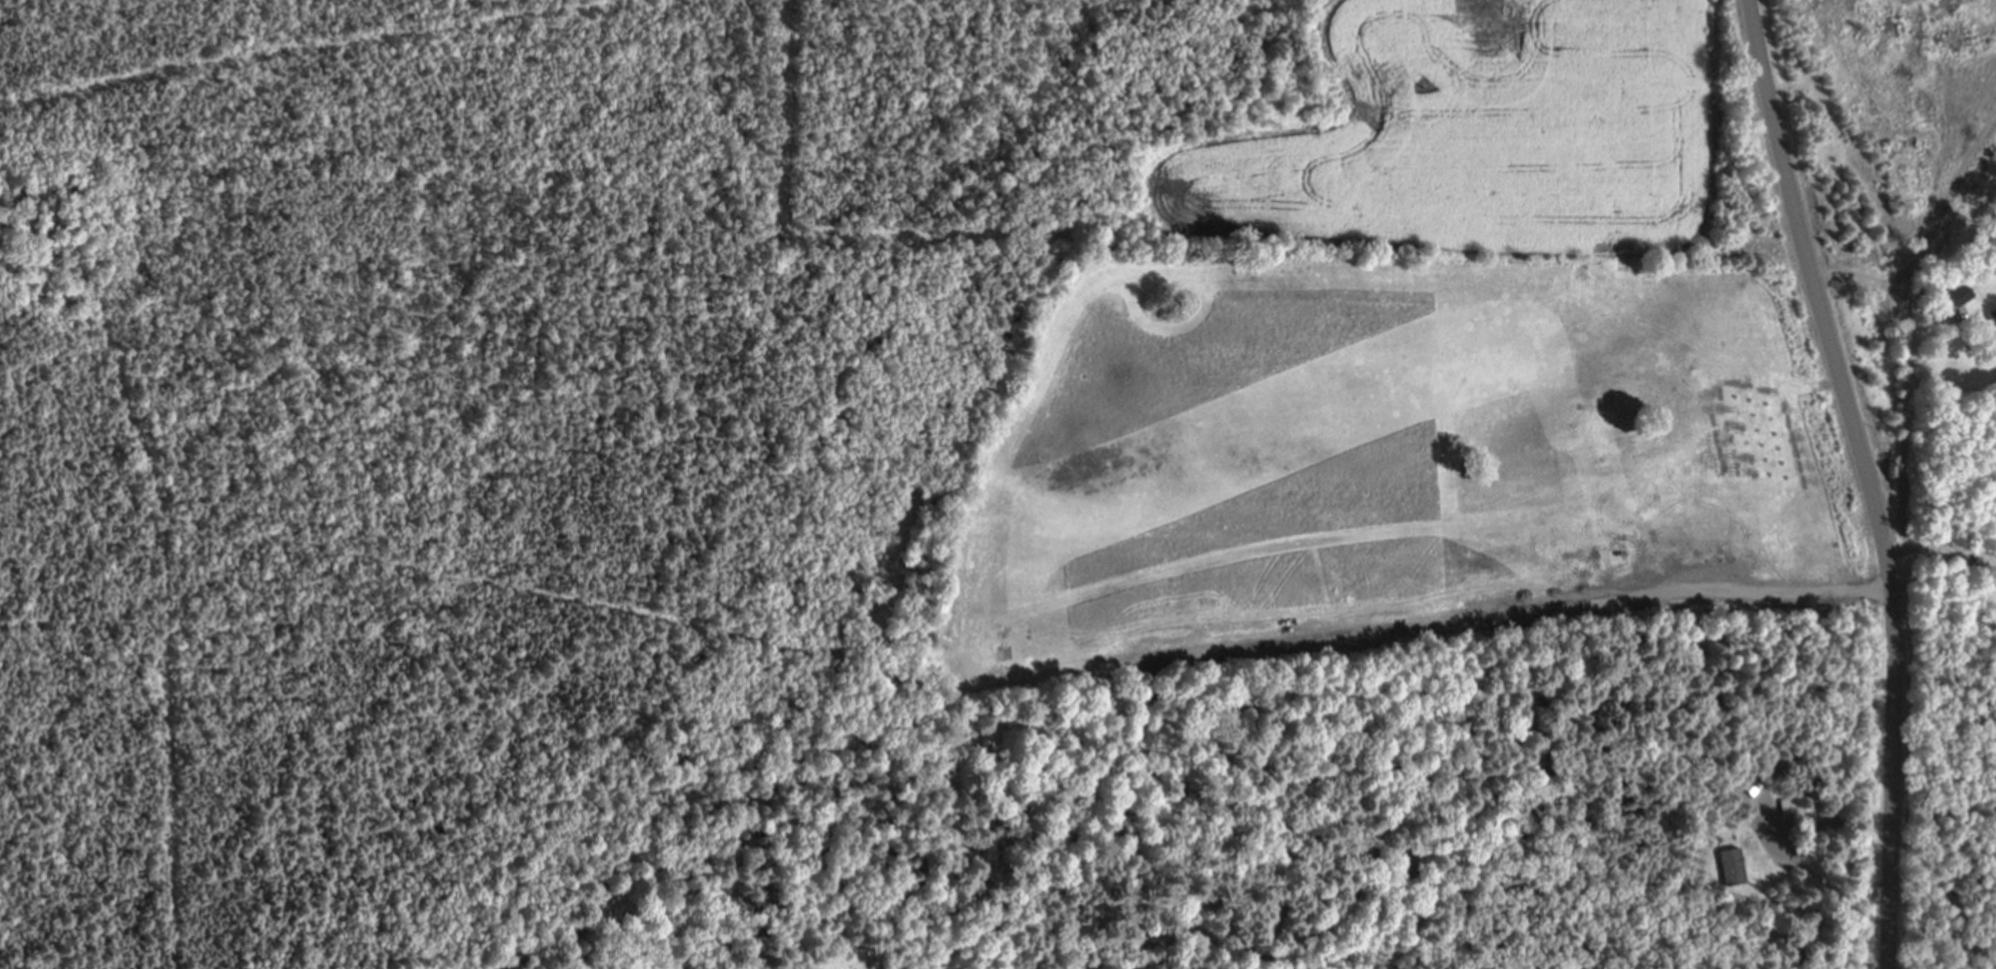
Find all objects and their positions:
road: (1858, 274)
building: (1957, 294)
building: (1993, 314)
road: (1867, 478)

